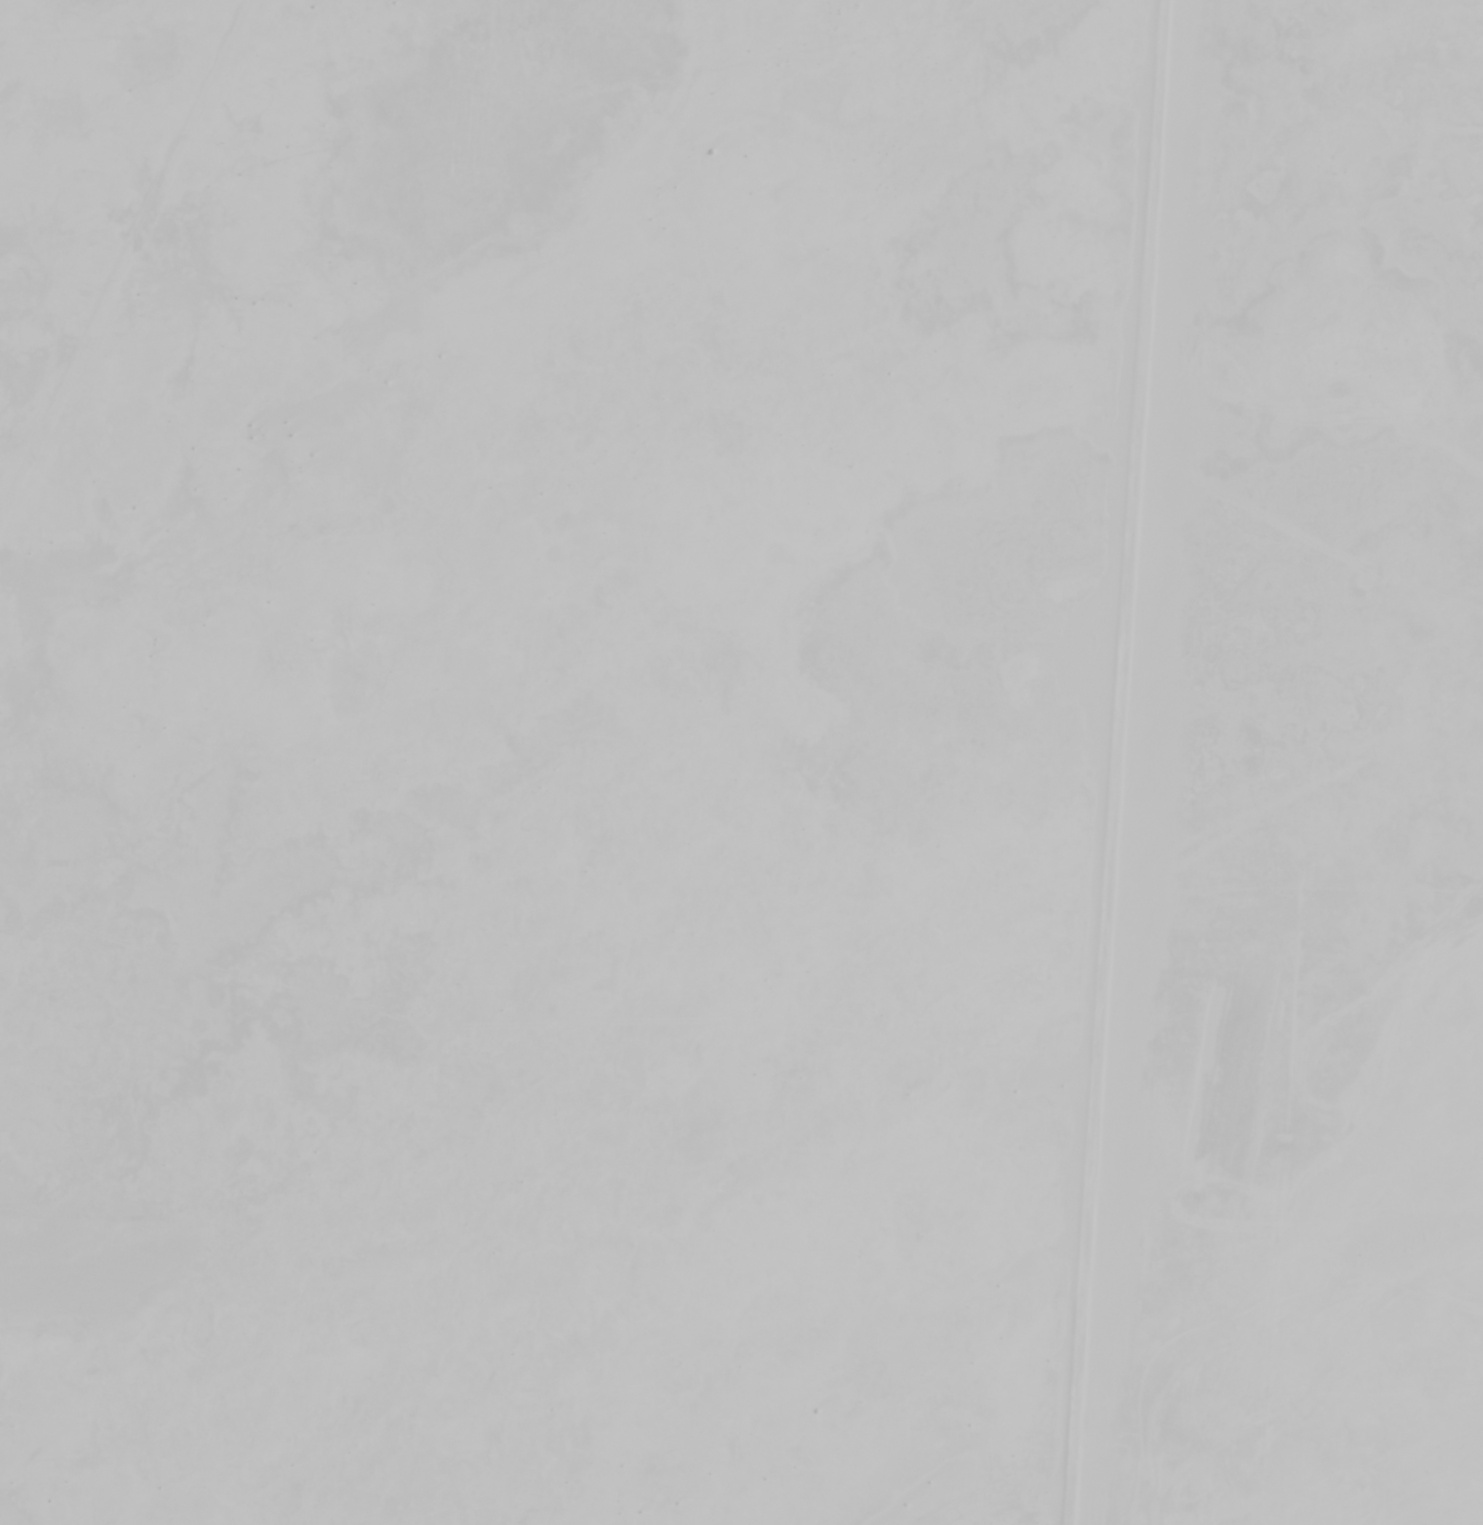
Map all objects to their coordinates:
building: (106, 127)
building: (250, 250)
building: (334, 461)
building: (229, 575)
road: (1080, 762)

